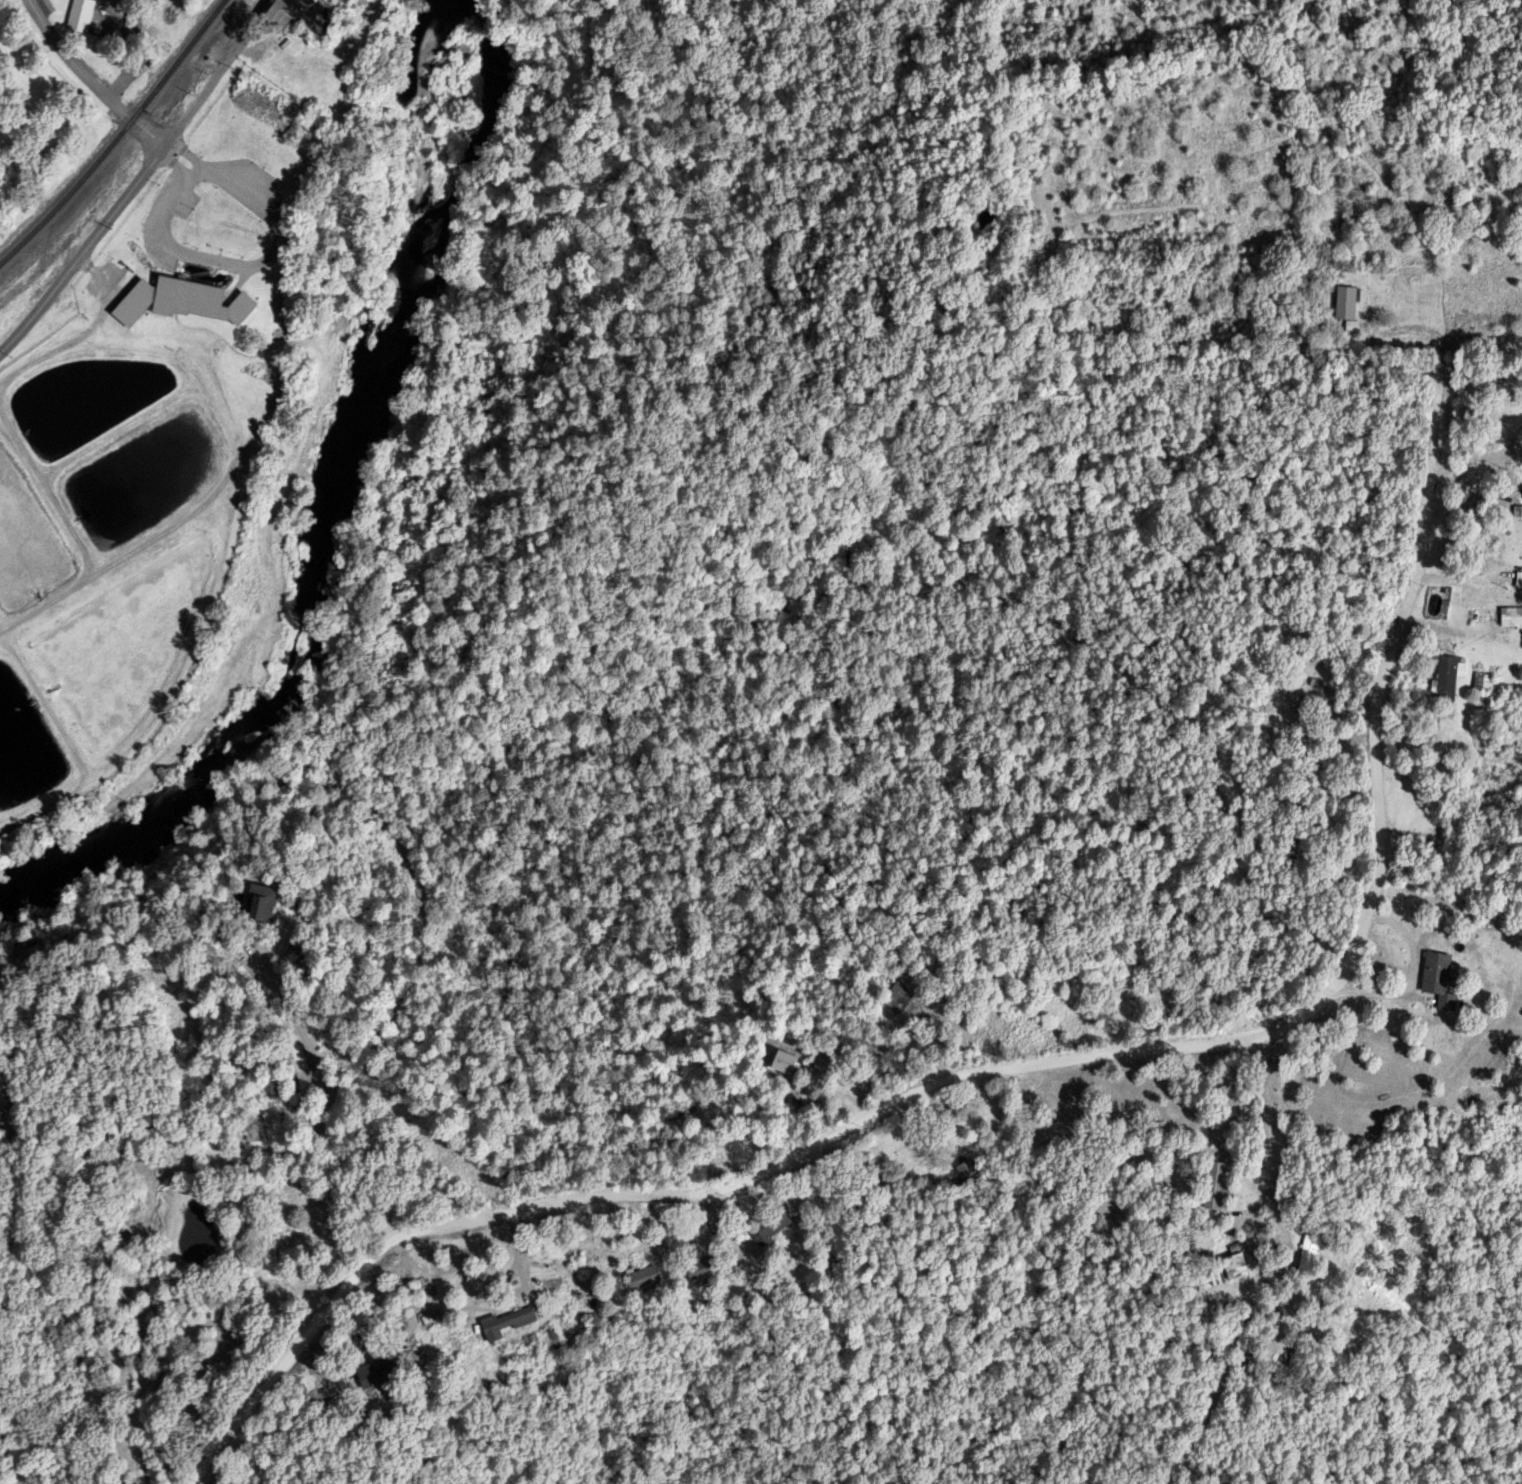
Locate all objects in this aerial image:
building: (81, 13)
building: (275, 16)
road: (39, 22)
road: (199, 95)
road: (105, 98)
railway: (119, 137)
park: (52, 167)
road: (83, 253)
building: (184, 295)
building: (1342, 307)
road: (753, 410)
river: (335, 508)
road: (1019, 601)
building: (1492, 621)
building: (1441, 675)
building: (1480, 686)
building: (1296, 714)
building: (259, 910)
road: (296, 1064)
road: (428, 1109)

